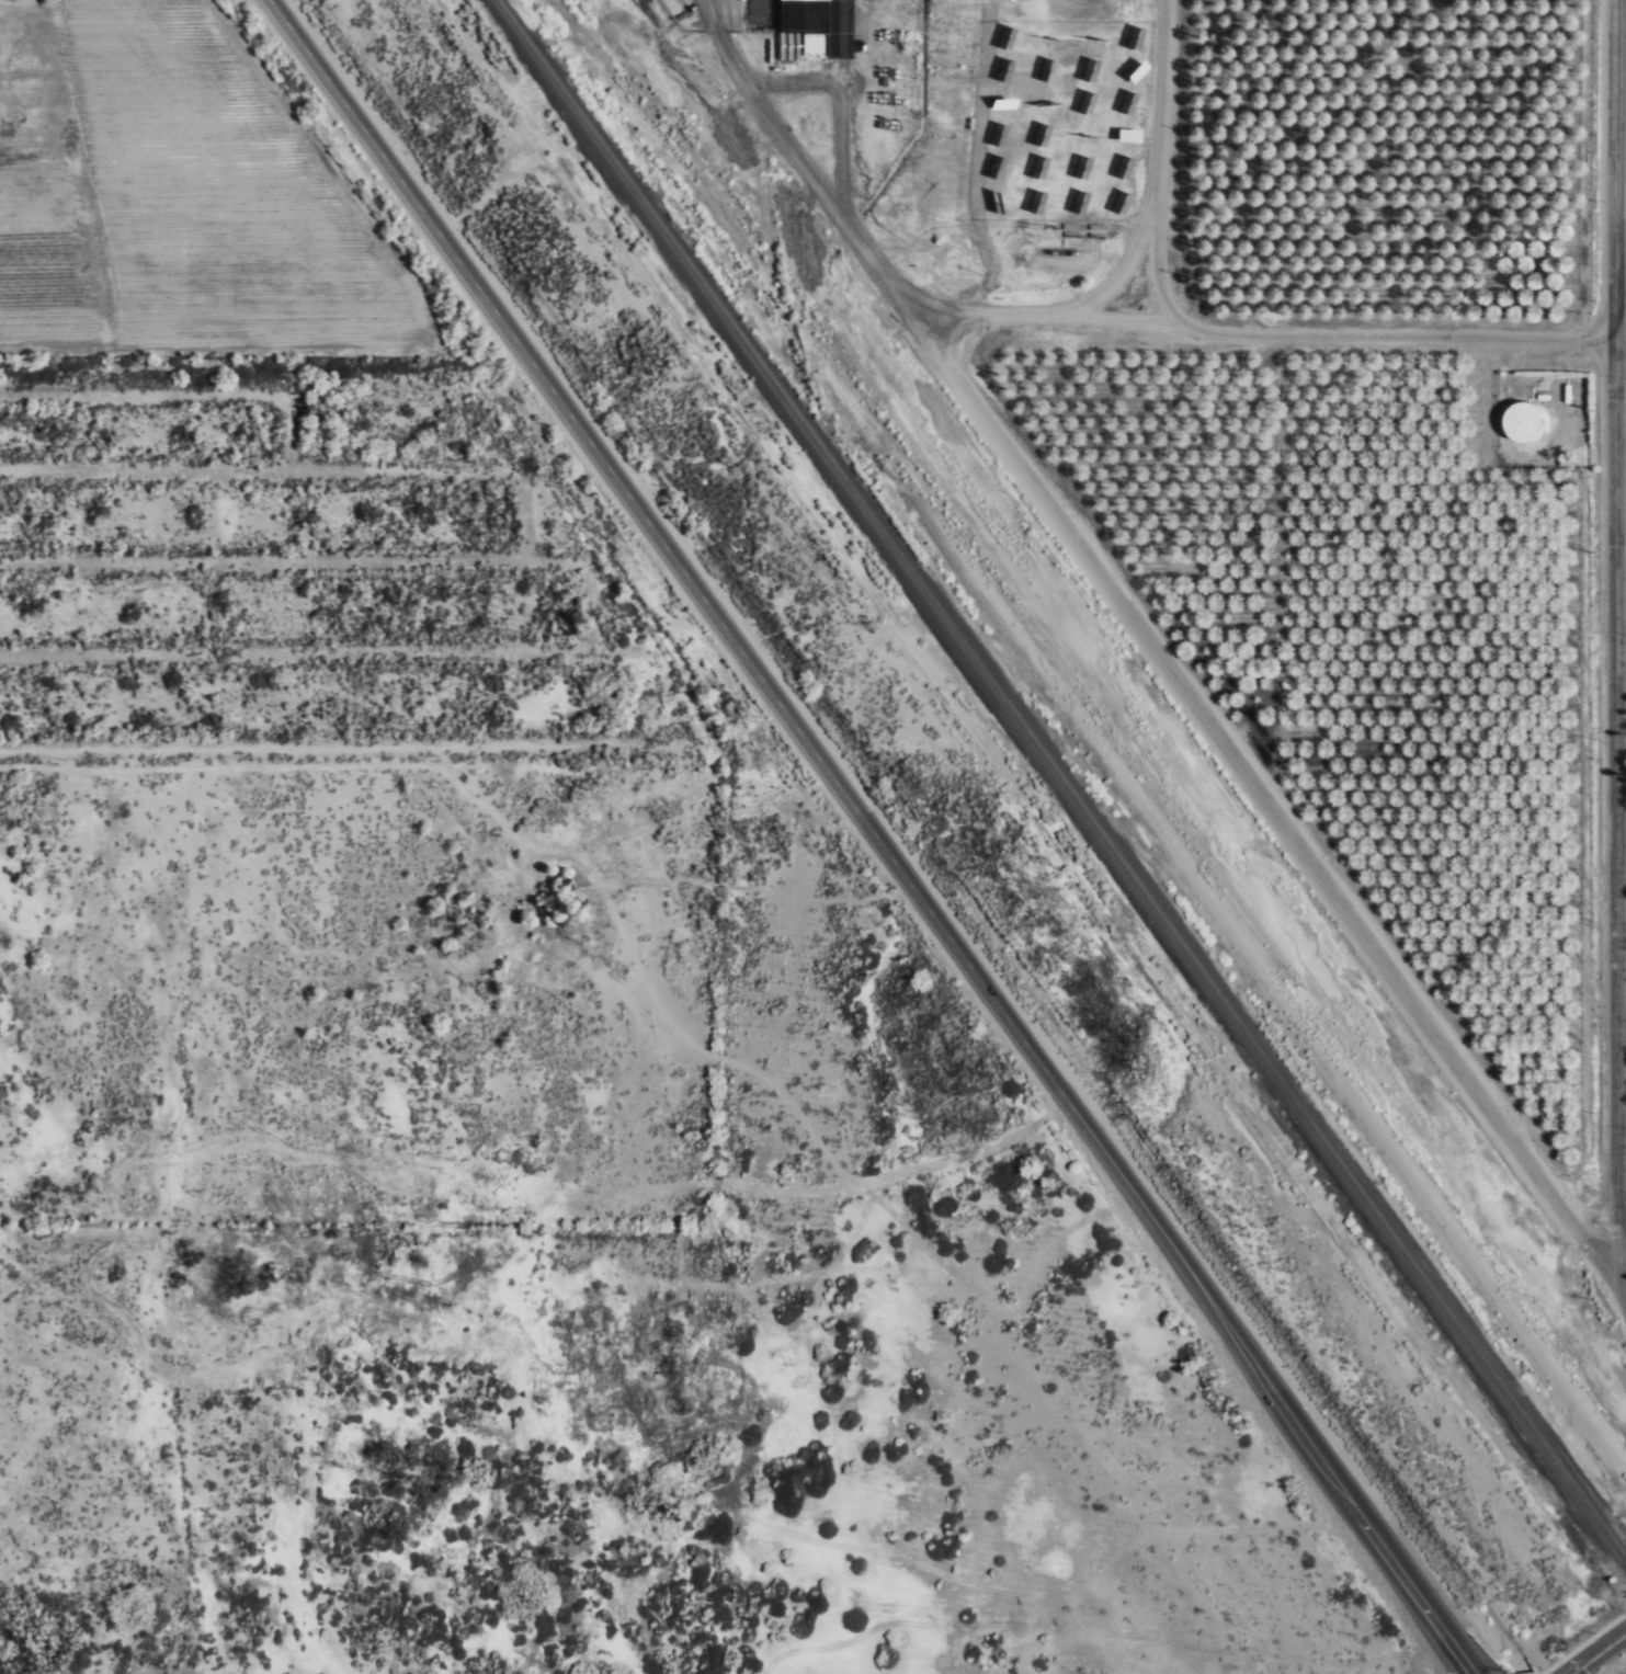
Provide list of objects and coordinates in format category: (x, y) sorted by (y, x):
road: (770, 114)
road: (1152, 169)
road: (851, 227)
road: (1112, 269)
road: (1267, 329)
road: (1619, 337)
road: (258, 346)
building: (1522, 421)
road: (1618, 592)
road: (1623, 667)
railway: (1058, 781)
road: (1274, 812)
road: (871, 836)
road: (1621, 1002)
road: (1625, 1282)
road: (1601, 1655)

